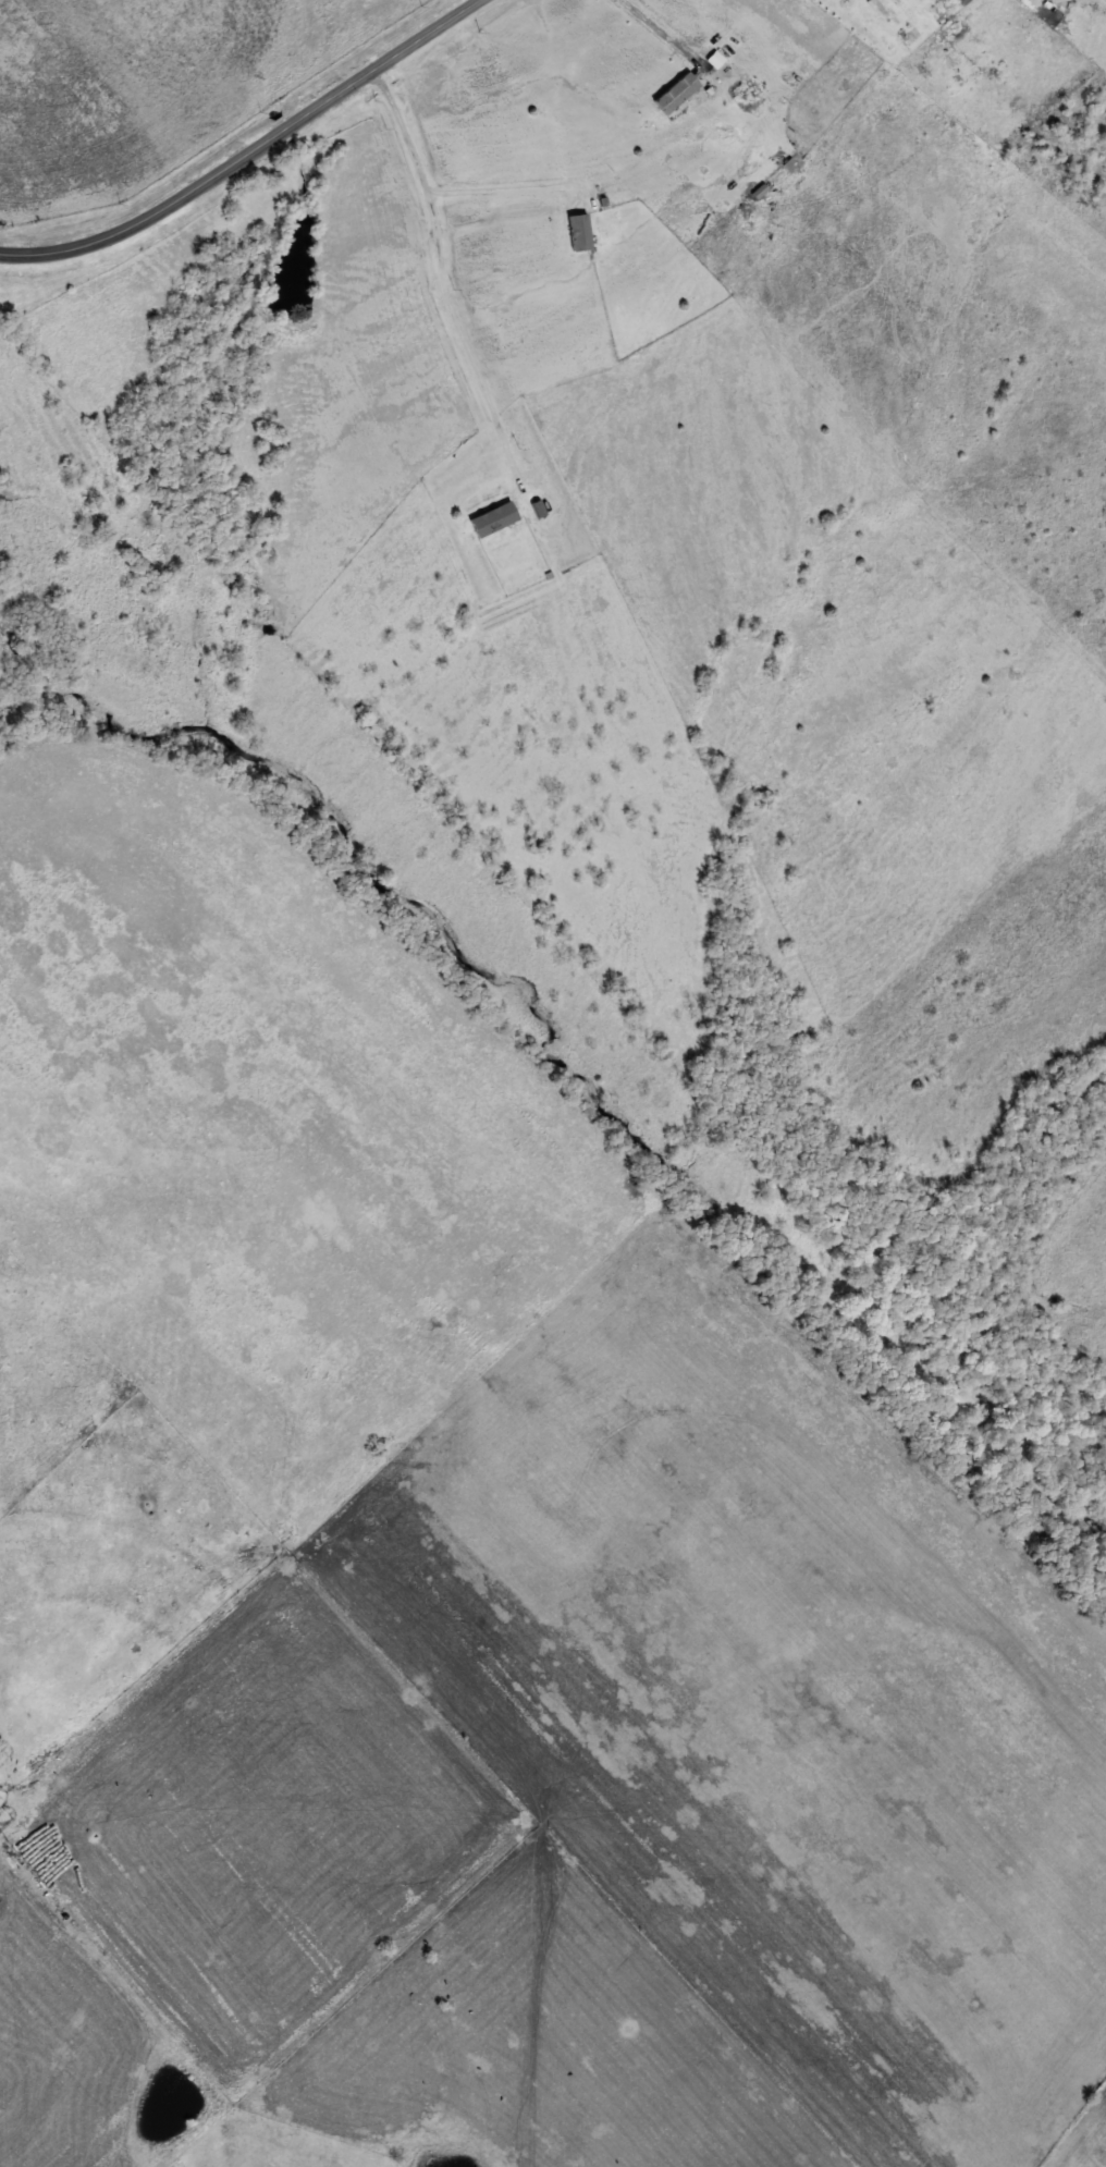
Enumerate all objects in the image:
building: (918, 0)
road: (650, 32)
building: (675, 94)
road: (248, 150)
road: (517, 186)
building: (578, 232)
road: (445, 270)
building: (536, 509)
building: (492, 519)

